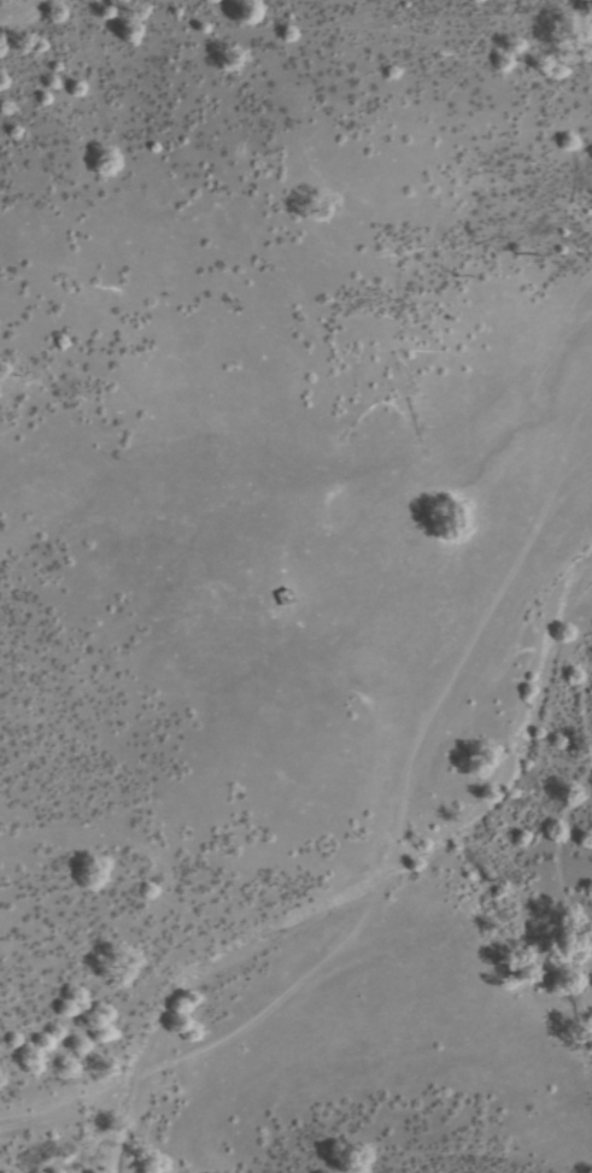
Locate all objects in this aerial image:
building: (283, 597)

